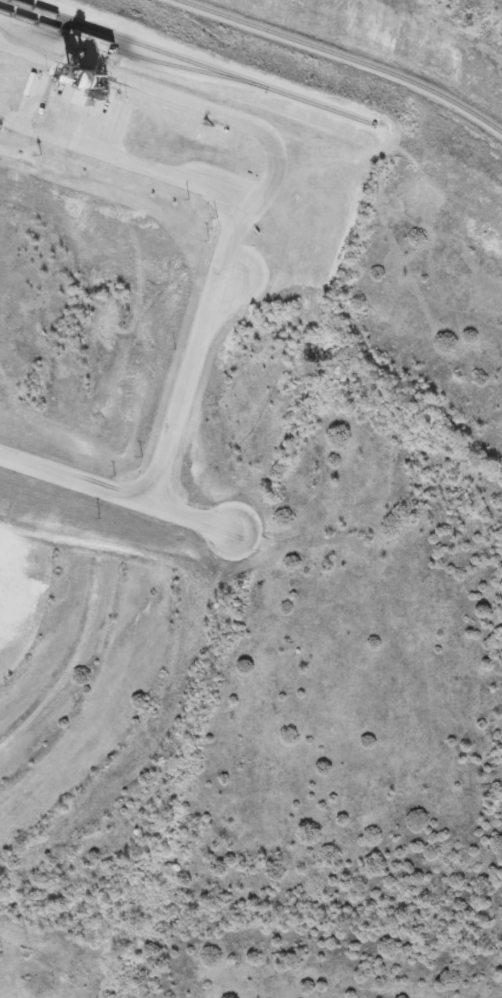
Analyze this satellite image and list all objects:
railway: (131, 54)
railway: (347, 55)
railway: (192, 62)
road: (223, 308)
road: (119, 495)

